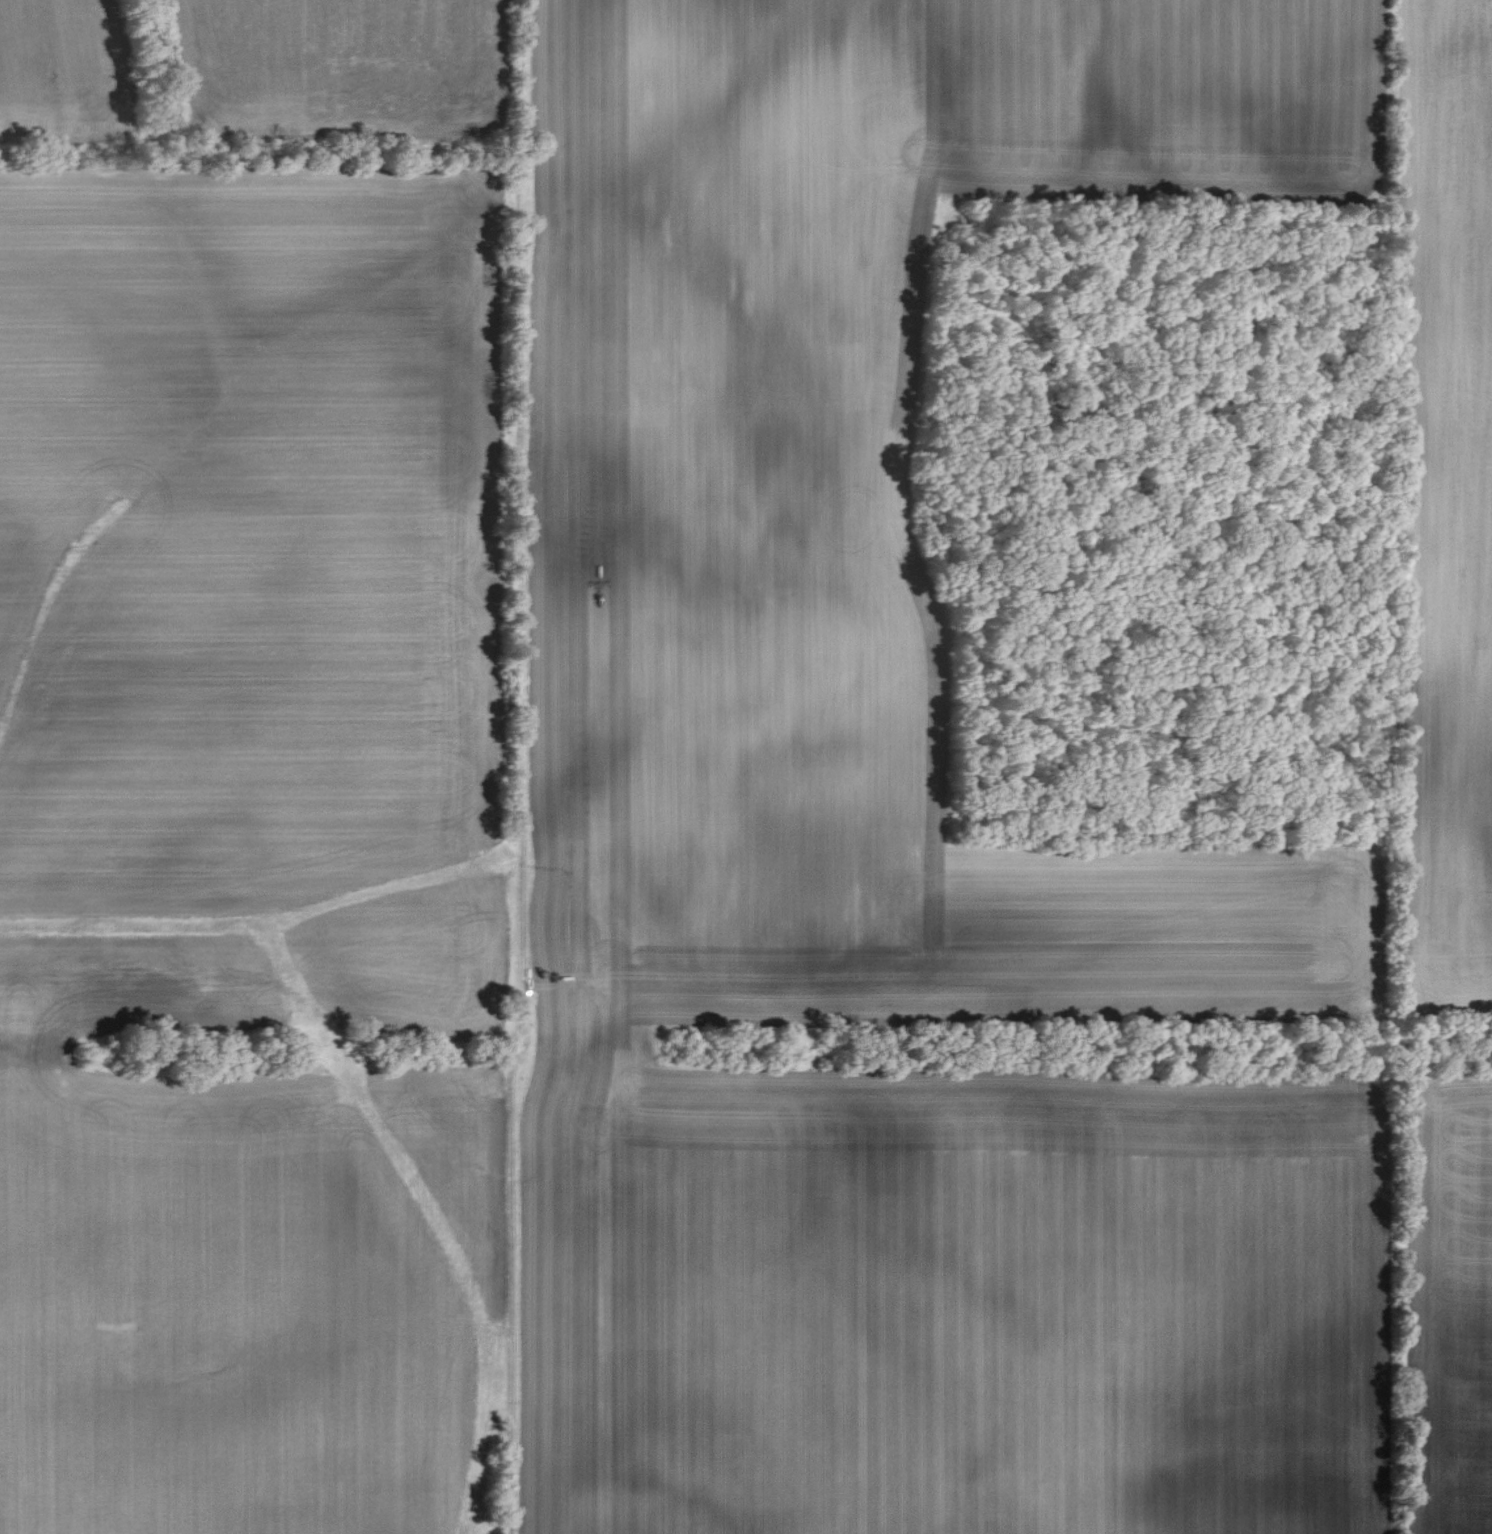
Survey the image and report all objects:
road: (262, 153)
road: (519, 843)

